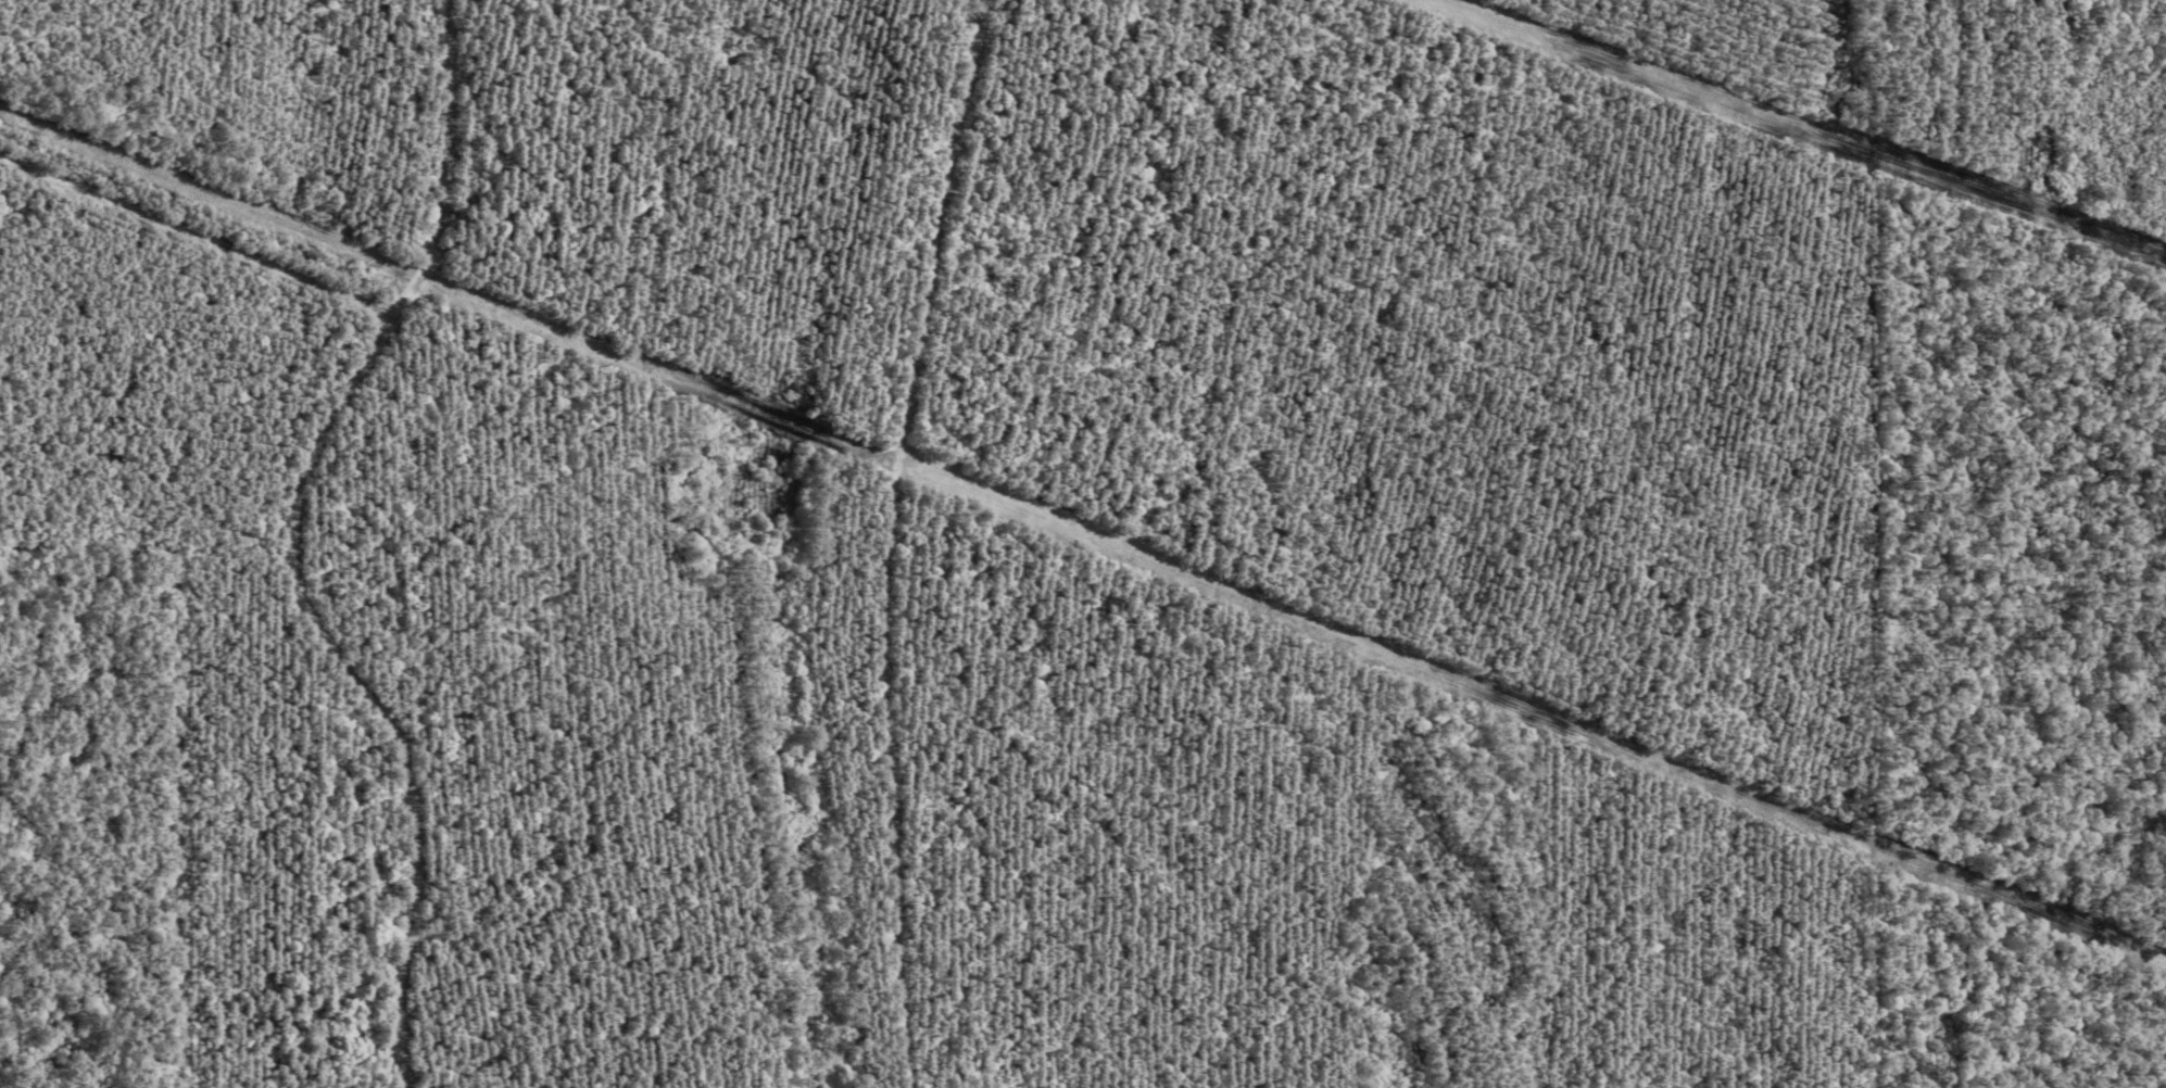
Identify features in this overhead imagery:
road: (885, 540)

